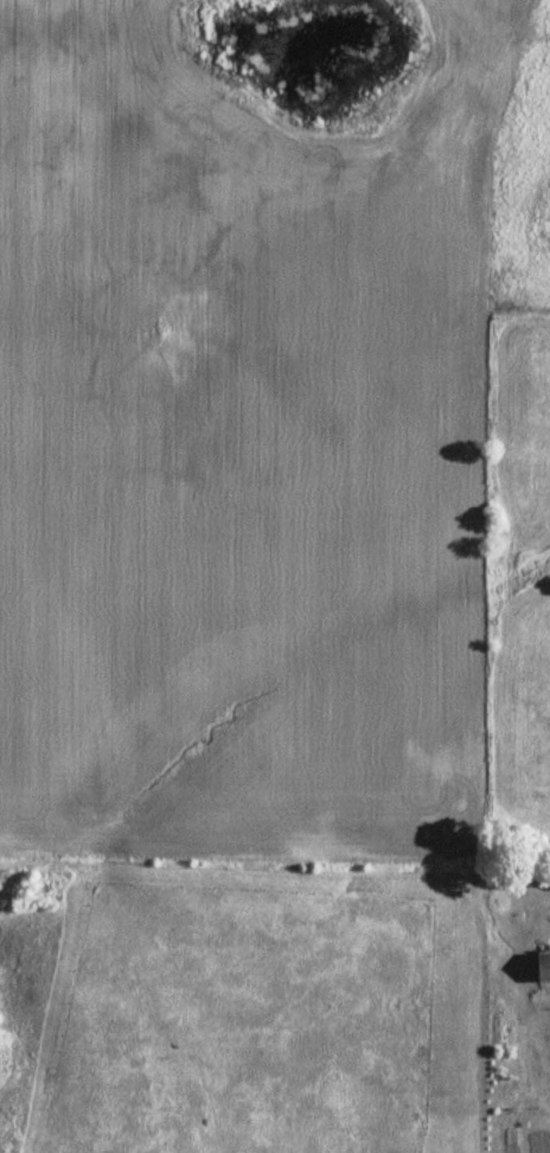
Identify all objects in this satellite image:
building: (542, 966)

